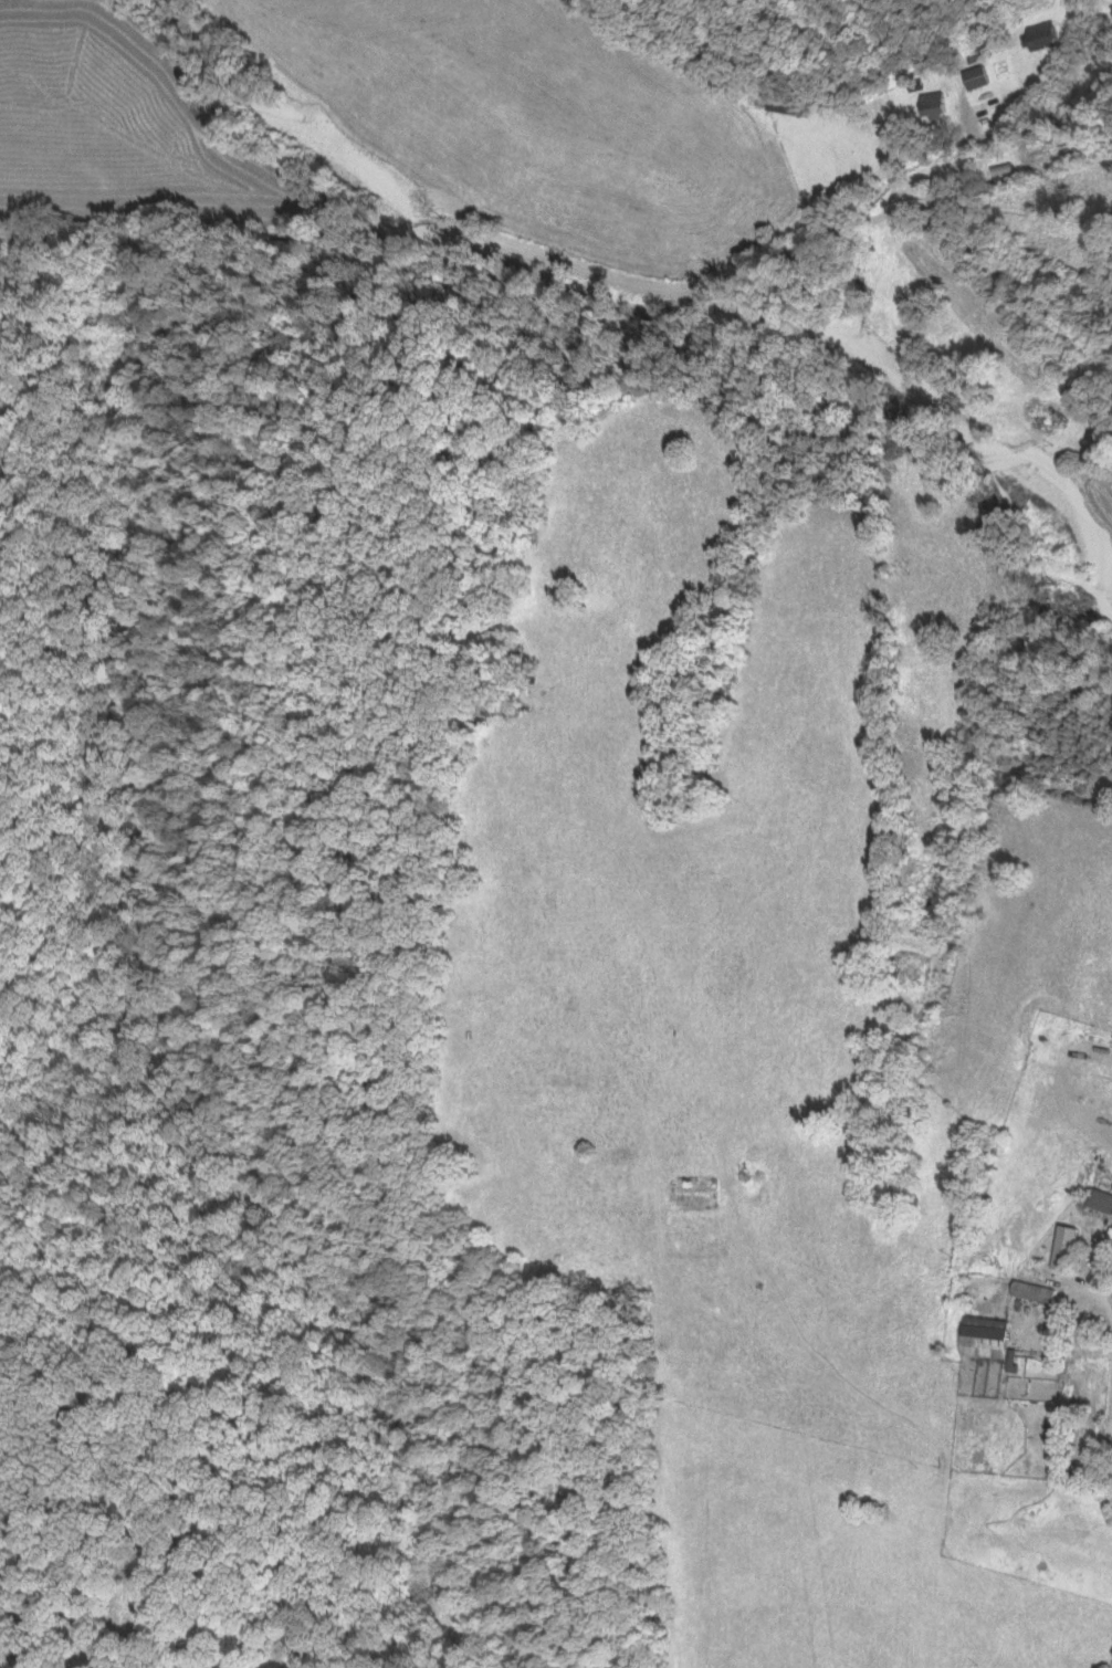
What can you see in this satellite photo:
building: (1034, 34)
building: (969, 76)
building: (926, 104)
road: (631, 283)
building: (1097, 1198)
building: (1057, 1246)
building: (1026, 1290)
road: (1097, 1294)
road: (1109, 1440)

